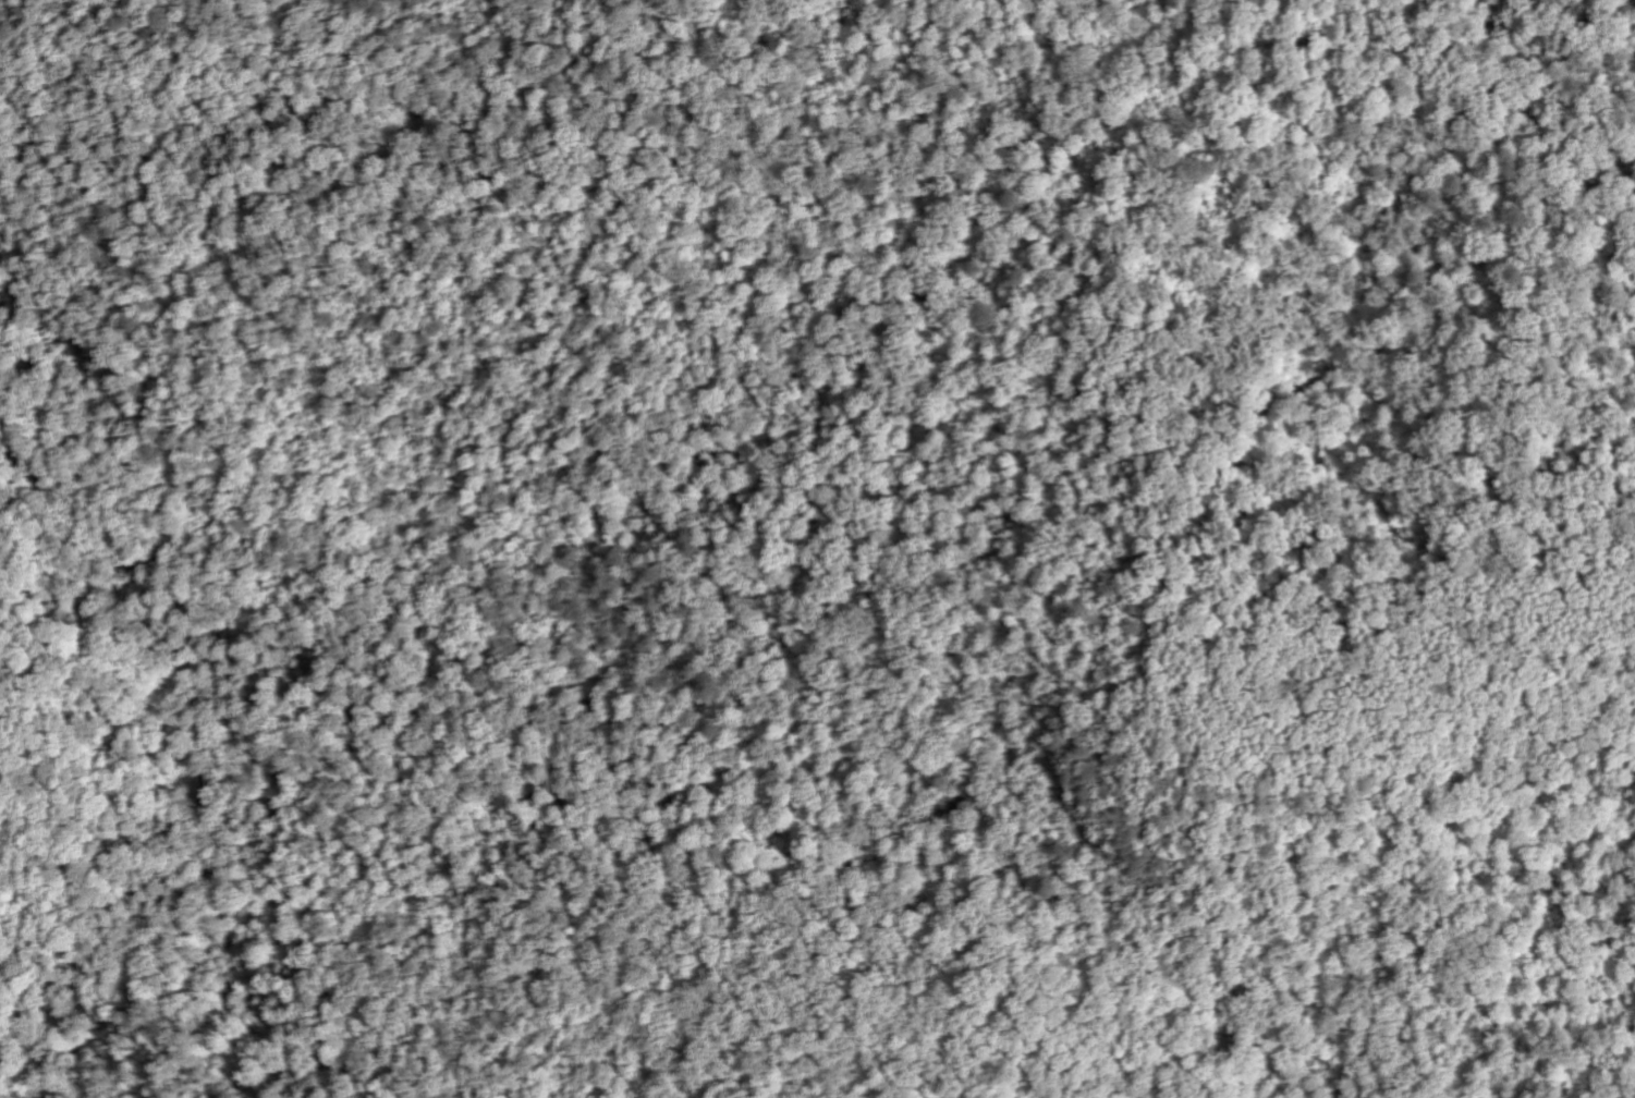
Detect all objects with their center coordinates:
park: (32, 351)

